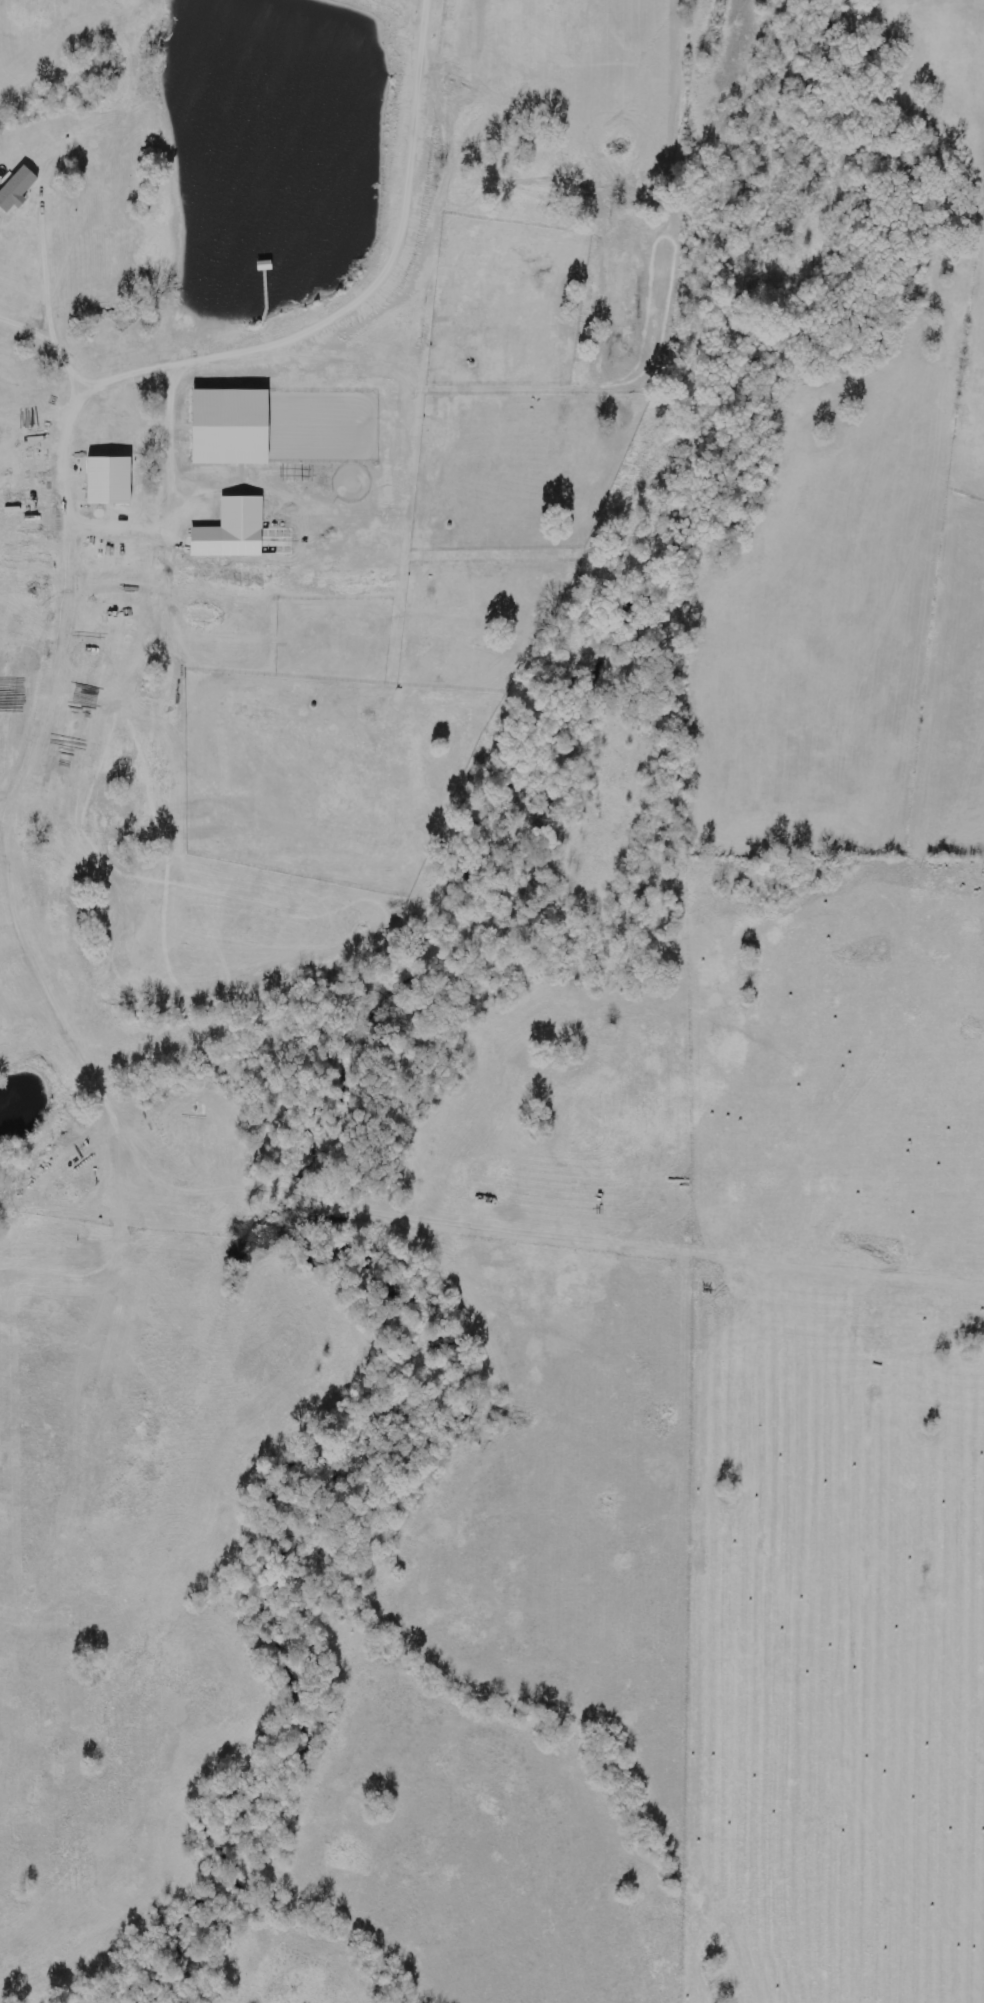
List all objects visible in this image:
building: (15, 190)
building: (106, 482)
building: (204, 542)

